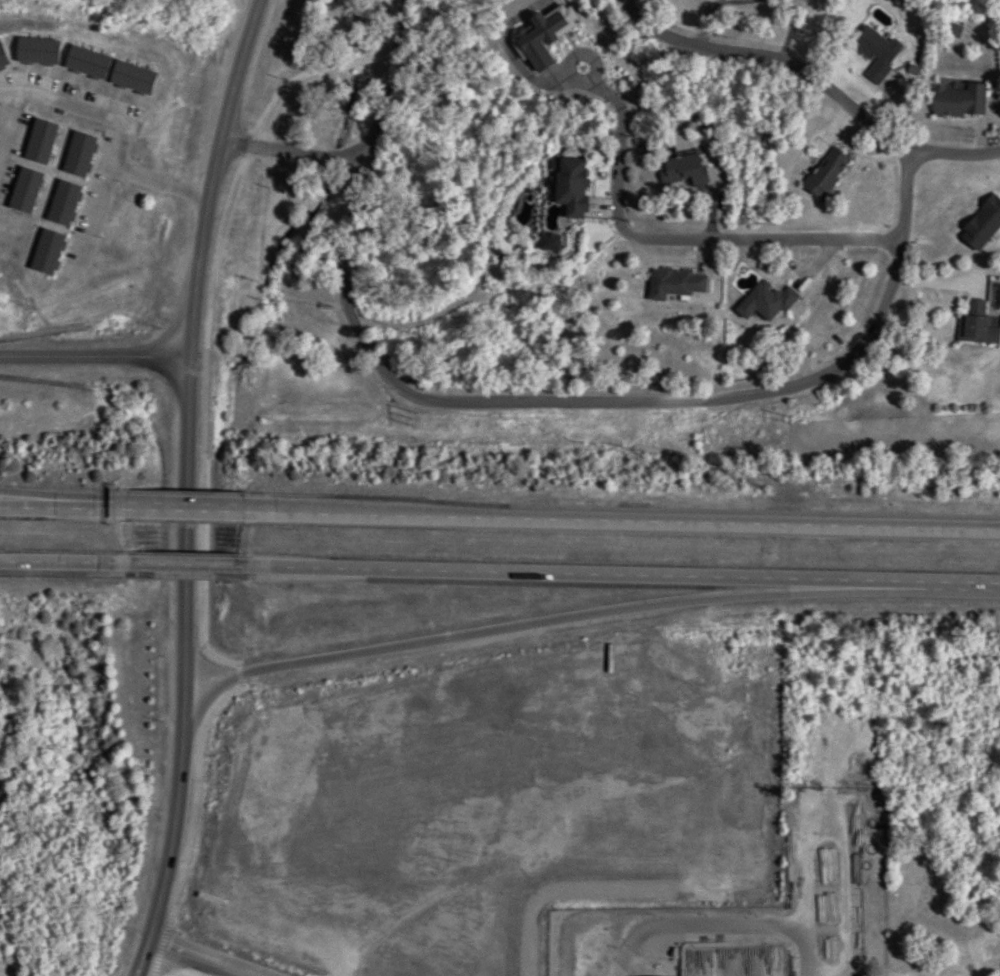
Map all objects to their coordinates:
building: (875, 52)
road: (772, 61)
road: (377, 66)
building: (959, 101)
road: (290, 148)
road: (955, 154)
building: (683, 170)
building: (826, 173)
road: (211, 176)
road: (170, 184)
building: (571, 187)
building: (982, 224)
road: (754, 240)
road: (132, 271)
building: (675, 283)
building: (31, 287)
building: (765, 302)
building: (976, 325)
road: (96, 356)
road: (592, 406)
road: (39, 495)
road: (39, 500)
road: (106, 502)
road: (185, 505)
road: (617, 521)
road: (67, 563)
road: (184, 566)
road: (616, 580)
road: (524, 638)
road: (177, 668)
building: (413, 721)
building: (361, 741)
road: (561, 887)
road: (703, 938)
road: (214, 956)

